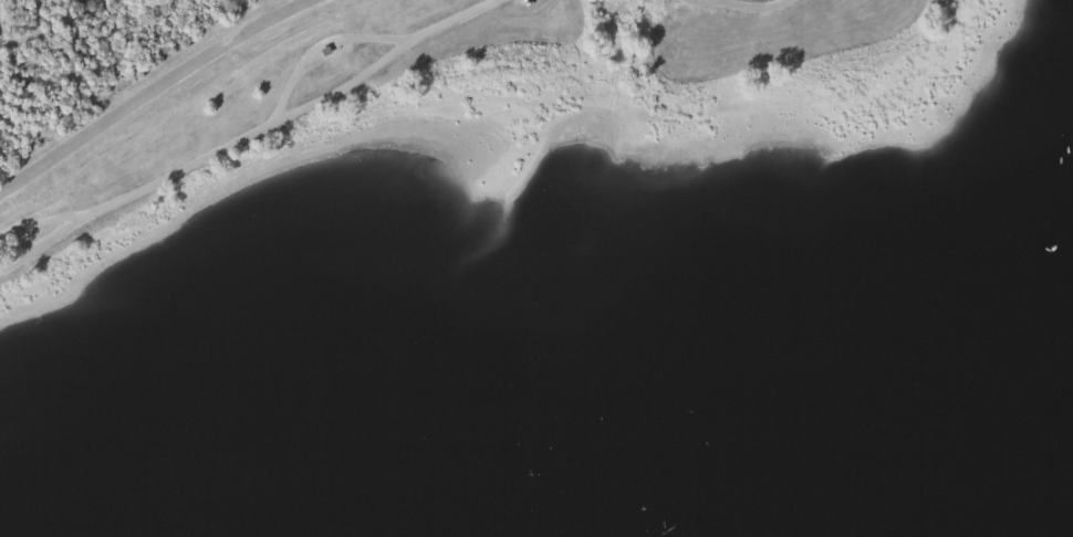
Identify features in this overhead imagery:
parking lot: (522, 1)
parking lot: (700, 3)
road: (749, 7)
road: (30, 33)
road: (316, 45)
road: (146, 88)
road: (246, 136)
road: (39, 221)

